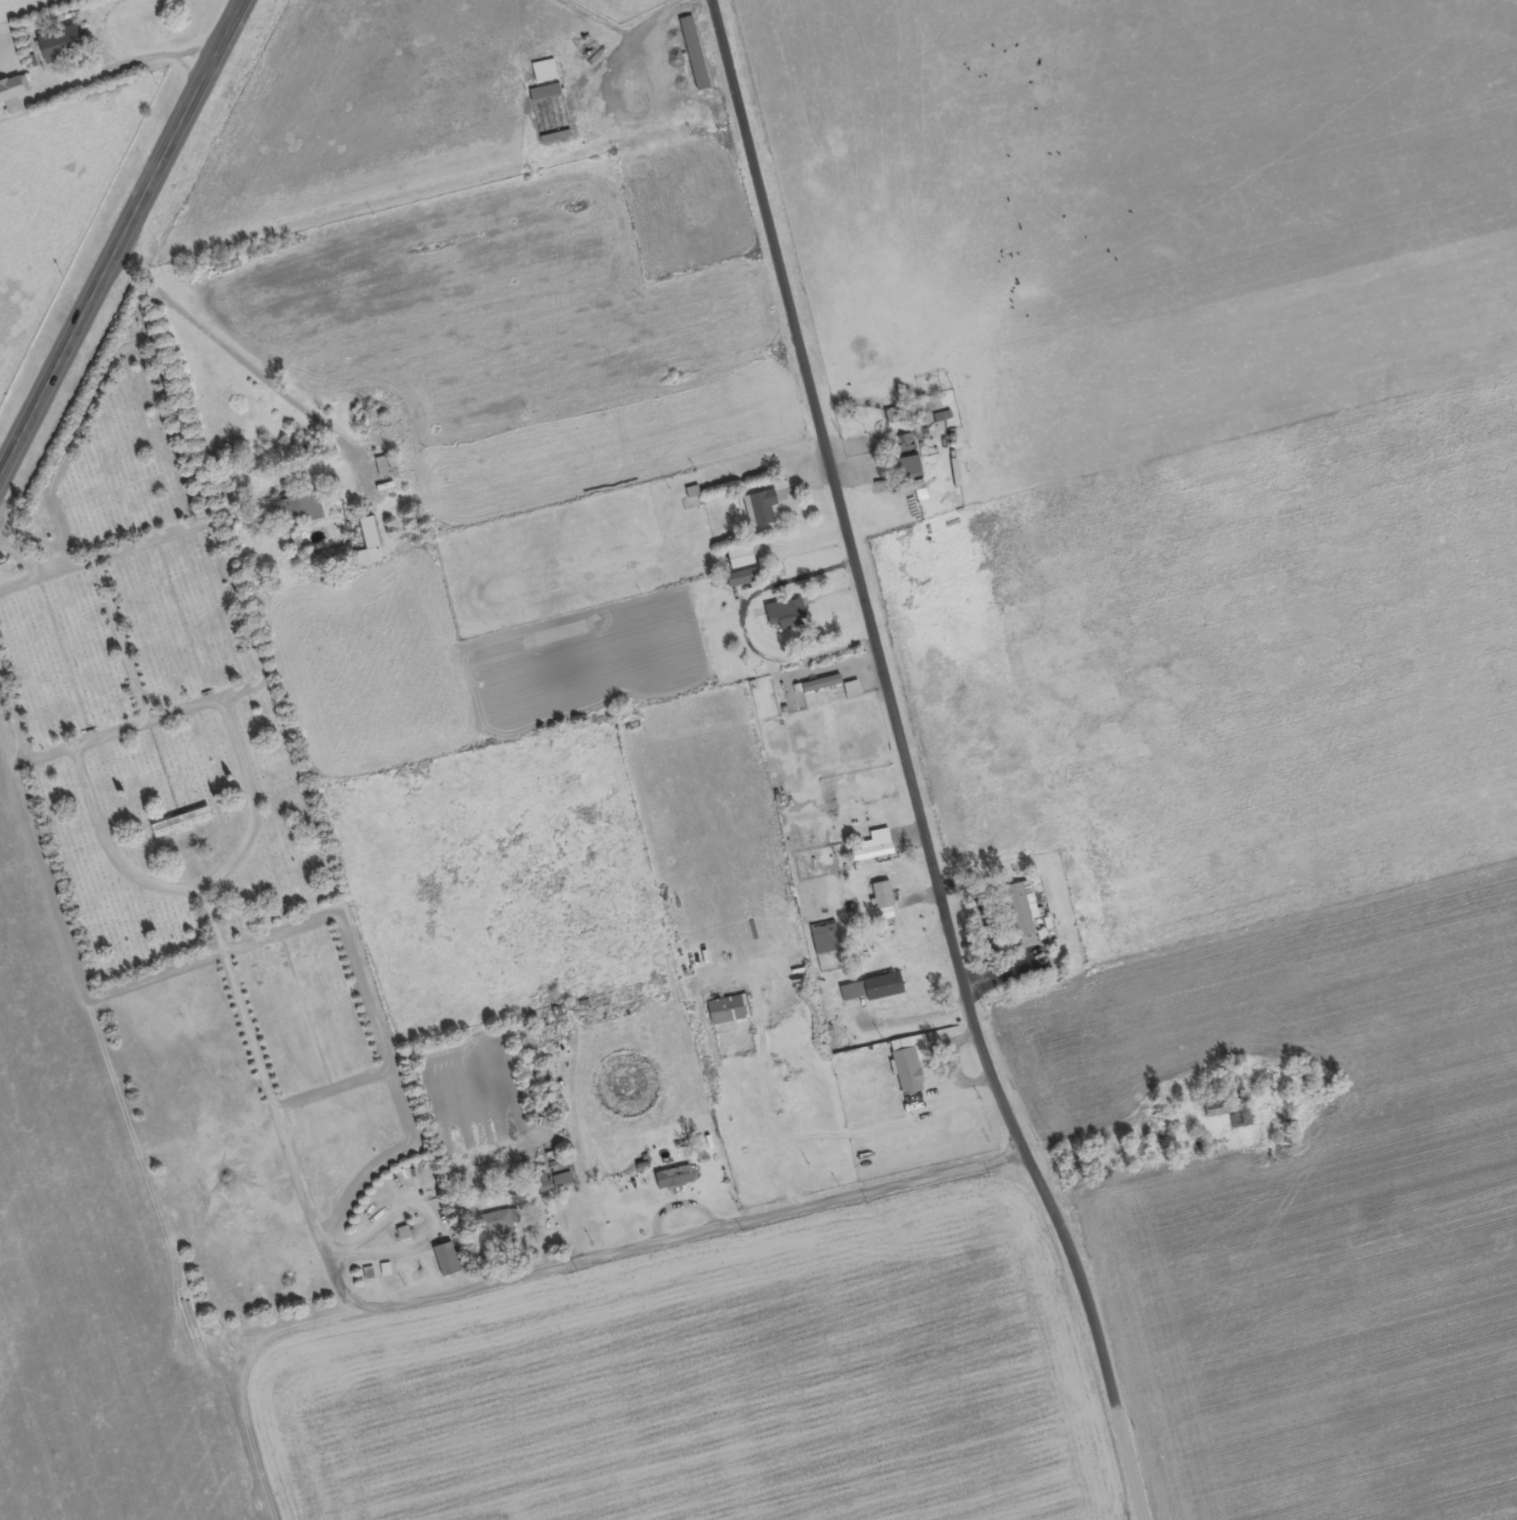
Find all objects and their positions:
building: (65, 44)
building: (695, 55)
building: (545, 72)
building: (14, 94)
building: (546, 94)
road: (121, 237)
road: (86, 426)
building: (385, 467)
building: (909, 468)
building: (761, 508)
building: (299, 510)
road: (213, 523)
building: (370, 533)
building: (742, 557)
road: (100, 569)
building: (744, 578)
road: (48, 587)
building: (787, 614)
road: (136, 641)
building: (822, 684)
building: (853, 690)
road: (18, 702)
road: (151, 719)
road: (925, 762)
building: (183, 823)
building: (874, 854)
park: (209, 876)
road: (217, 894)
building: (885, 903)
building: (1020, 912)
building: (826, 939)
building: (870, 990)
building: (730, 1011)
building: (559, 1013)
building: (908, 1067)
building: (1214, 1111)
building: (675, 1178)
building: (563, 1182)
building: (494, 1225)
building: (447, 1261)
road: (550, 1263)

